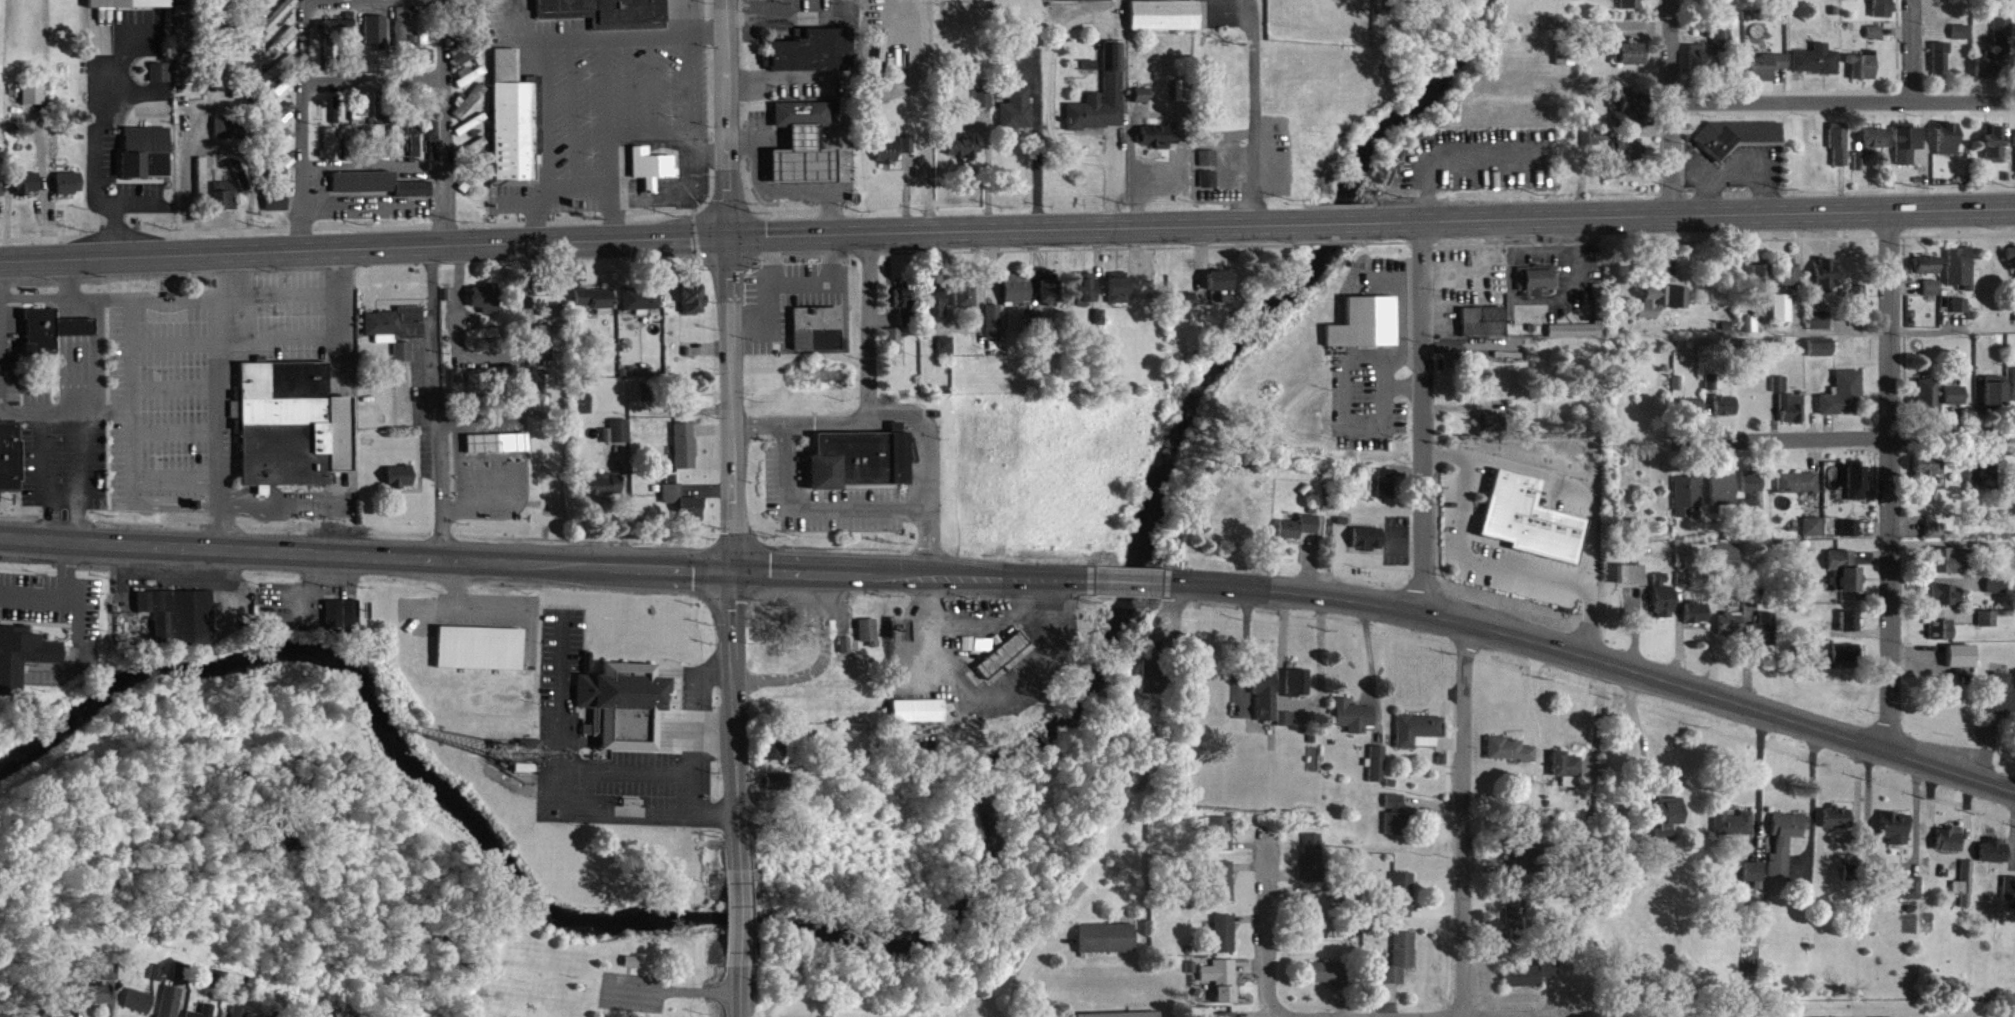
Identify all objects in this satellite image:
building: (1083, 4)
building: (130, 8)
building: (1631, 8)
building: (1884, 14)
building: (608, 16)
building: (279, 22)
road: (689, 22)
building: (1164, 23)
building: (336, 33)
building: (425, 34)
building: (2003, 36)
building: (376, 37)
road: (518, 37)
building: (1961, 40)
building: (1874, 41)
road: (707, 44)
road: (618, 45)
building: (1722, 47)
building: (411, 49)
road: (1912, 50)
building: (280, 53)
building: (469, 59)
building: (813, 59)
building: (328, 61)
building: (1631, 62)
building: (1699, 65)
building: (349, 67)
building: (1941, 68)
building: (1817, 69)
building: (1089, 73)
building: (1991, 73)
building: (1768, 74)
building: (1863, 75)
building: (161, 80)
road: (372, 80)
road: (923, 80)
building: (470, 83)
road: (690, 92)
road: (631, 93)
road: (655, 93)
road: (608, 94)
building: (282, 98)
building: (243, 100)
road: (1843, 100)
building: (34, 101)
building: (1141, 103)
building: (1103, 104)
building: (984, 107)
road: (1671, 107)
building: (470, 109)
road: (1254, 109)
building: (797, 112)
building: (1629, 115)
road: (725, 116)
building: (1017, 117)
building: (336, 118)
building: (356, 119)
road: (443, 122)
building: (283, 123)
road: (548, 123)
road: (301, 125)
building: (514, 126)
road: (199, 127)
building: (228, 136)
road: (768, 136)
road: (799, 136)
road: (1055, 140)
road: (623, 142)
building: (1737, 143)
building: (1160, 144)
building: (284, 146)
building: (1597, 146)
building: (1874, 147)
building: (1947, 147)
building: (434, 148)
road: (1034, 148)
building: (1839, 152)
building: (1907, 152)
building: (330, 153)
building: (477, 153)
building: (907, 153)
building: (1994, 153)
building: (964, 155)
building: (798, 156)
building: (1629, 157)
road: (839, 159)
road: (916, 159)
building: (887, 160)
building: (146, 161)
road: (712, 161)
road: (373, 167)
building: (284, 172)
road: (250, 174)
building: (652, 175)
building: (240, 184)
building: (27, 191)
building: (70, 191)
building: (375, 192)
road: (768, 192)
road: (574, 198)
building: (2, 200)
building: (224, 203)
road: (688, 205)
building: (277, 207)
road: (370, 211)
road: (519, 212)
road: (1699, 216)
road: (1342, 221)
road: (1011, 227)
traffic signals: (724, 233)
road: (362, 247)
road: (766, 257)
building: (2010, 262)
building: (1928, 274)
building: (1961, 276)
road: (791, 282)
building: (1787, 282)
building: (1825, 283)
building: (1761, 284)
building: (1539, 289)
building: (1223, 290)
road: (338, 295)
building: (1119, 296)
building: (1932, 296)
road: (285, 297)
building: (1017, 297)
building: (1087, 297)
road: (53, 298)
road: (182, 299)
building: (1048, 299)
building: (1858, 301)
building: (965, 305)
building: (1679, 305)
building: (486, 306)
building: (596, 307)
building: (641, 307)
building: (693, 307)
building: (1185, 307)
building: (1652, 309)
building: (904, 312)
building: (935, 312)
building: (1961, 314)
building: (1782, 316)
building: (555, 320)
building: (1100, 325)
road: (868, 328)
building: (1819, 328)
building: (994, 330)
building: (1482, 330)
building: (1365, 331)
building: (396, 332)
building: (549, 337)
building: (818, 337)
building: (51, 339)
road: (279, 342)
building: (485, 342)
road: (175, 343)
building: (894, 349)
building: (946, 354)
road: (492, 355)
building: (1820, 358)
building: (404, 360)
road: (98, 366)
road: (132, 373)
building: (493, 387)
building: (542, 391)
building: (1711, 391)
building: (475, 393)
building: (1995, 399)
road: (219, 400)
road: (435, 402)
building: (1844, 402)
building: (1955, 403)
building: (686, 404)
building: (1927, 405)
building: (1686, 410)
building: (1789, 410)
road: (107, 411)
road: (3, 412)
road: (902, 414)
building: (1726, 414)
road: (1421, 418)
building: (1491, 430)
building: (293, 433)
road: (1850, 439)
building: (617, 440)
building: (499, 451)
building: (684, 454)
building: (854, 457)
road: (457, 464)
building: (11, 465)
road: (83, 477)
building: (1927, 477)
road: (175, 480)
road: (1891, 483)
road: (340, 484)
building: (1984, 484)
building: (400, 485)
building: (1798, 491)
building: (1387, 492)
building: (1856, 492)
building: (603, 494)
road: (58, 497)
road: (192, 497)
building: (1723, 498)
building: (1753, 500)
building: (1688, 503)
road: (164, 504)
road: (815, 508)
building: (682, 510)
road: (51, 519)
building: (1532, 528)
building: (1299, 535)
building: (1813, 535)
building: (1851, 537)
building: (1934, 539)
building: (1368, 547)
road: (731, 549)
road: (1495, 561)
building: (1727, 561)
road: (546, 563)
building: (1948, 569)
traffic signals: (732, 572)
road: (1131, 580)
building: (1844, 580)
building: (1631, 583)
building: (1997, 593)
building: (1946, 604)
building: (1664, 605)
road: (427, 606)
road: (500, 606)
building: (1697, 621)
building: (342, 622)
building: (179, 625)
building: (1988, 627)
building: (1848, 631)
building: (1731, 632)
building: (1766, 638)
building: (1943, 638)
building: (868, 640)
building: (978, 652)
building: (480, 657)
building: (1846, 661)
road: (1597, 662)
road: (818, 663)
building: (1001, 663)
building: (23, 664)
building: (1962, 664)
building: (1154, 685)
building: (1298, 691)
building: (1266, 702)
building: (2002, 702)
road: (1595, 713)
building: (625, 714)
building: (917, 719)
building: (1354, 724)
road: (1635, 726)
building: (1287, 727)
road: (701, 730)
road: (718, 733)
building: (1420, 739)
building: (1509, 758)
building: (531, 759)
building: (780, 760)
road: (1758, 771)
building: (1377, 772)
road: (628, 774)
building: (1566, 776)
building: (776, 790)
road: (557, 802)
road: (1462, 818)
building: (1397, 825)
building: (1838, 826)
building: (1668, 827)
building: (1734, 832)
building: (1896, 836)
building: (1222, 842)
building: (1950, 848)
building: (1786, 849)
building: (1994, 860)
building: (1523, 862)
building: (1314, 866)
building: (1754, 880)
building: (1223, 890)
building: (1965, 893)
building: (1913, 896)
building: (2009, 896)
building: (1402, 903)
building: (1516, 916)
road: (739, 917)
building: (1319, 926)
building: (1104, 937)
building: (1226, 942)
building: (1401, 966)
road: (1024, 967)
building: (155, 980)
building: (1330, 981)
building: (1532, 982)
building: (1224, 988)
road: (672, 989)
road: (739, 992)
building: (101, 994)
building: (171, 1006)
building: (139, 1008)
building: (58, 1012)
building: (1118, 1013)
building: (208, 1014)
building: (237, 1016)
building: (268, 1016)
road: (1334, 1016)

